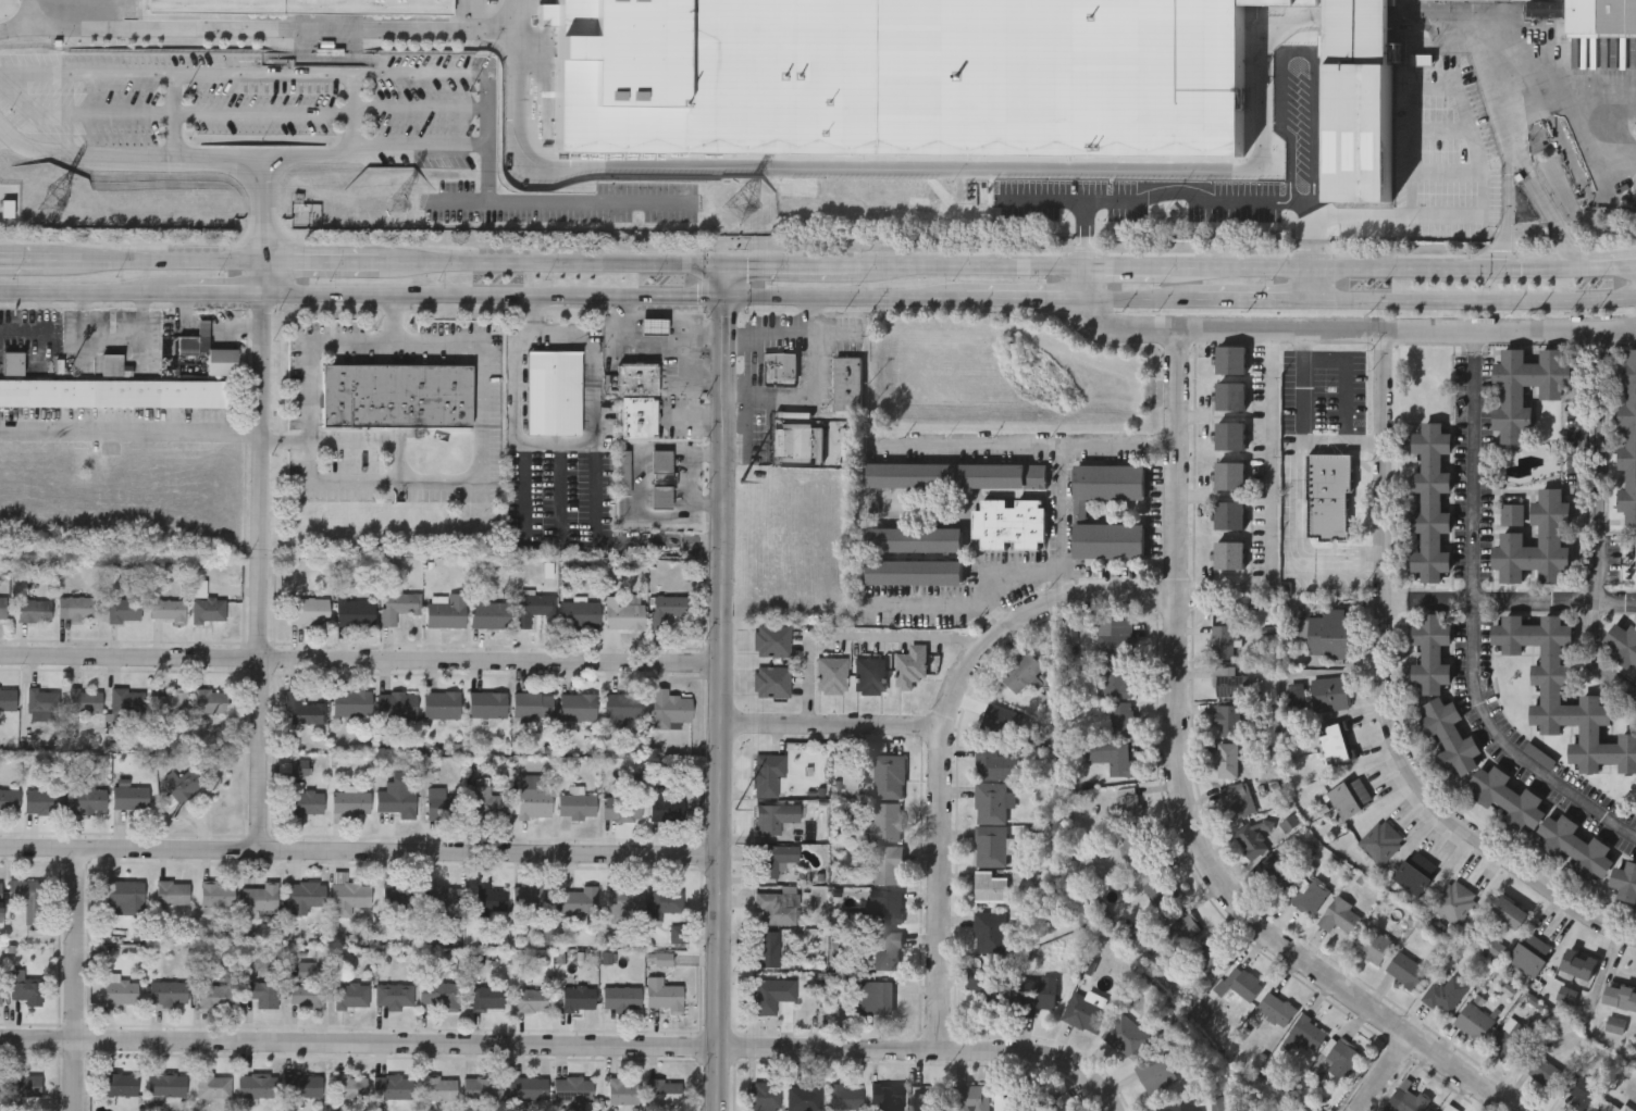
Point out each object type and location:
building: (303, 5)
road: (42, 14)
building: (1589, 14)
road: (260, 29)
road: (1313, 66)
building: (951, 78)
road: (1542, 96)
road: (173, 116)
road: (1588, 136)
road: (1477, 146)
road: (80, 154)
road: (1199, 167)
road: (721, 170)
road: (1447, 170)
road: (1508, 184)
road: (1532, 184)
road: (557, 198)
power tower: (742, 205)
power tower: (53, 207)
road: (265, 207)
power tower: (397, 207)
road: (1083, 217)
road: (1314, 219)
road: (1571, 246)
road: (1501, 247)
traffic signals: (1501, 253)
road: (1169, 254)
road: (26, 258)
road: (159, 258)
road: (322, 260)
road: (551, 265)
road: (1610, 266)
traffic signals: (748, 267)
road: (777, 267)
road: (956, 267)
road: (1127, 269)
road: (1377, 269)
traffic signals: (1522, 269)
road: (265, 276)
road: (704, 282)
road: (1083, 284)
road: (1315, 284)
road: (88, 294)
road: (222, 294)
road: (627, 296)
traffic signals: (698, 296)
road: (1036, 298)
road: (1141, 299)
road: (1256, 300)
road: (1475, 301)
road: (723, 309)
traffic signals: (724, 315)
building: (654, 328)
road: (1225, 328)
road: (1508, 328)
road: (1586, 329)
road: (768, 333)
road: (25, 336)
road: (1589, 336)
road: (1584, 337)
road: (1474, 341)
building: (206, 359)
building: (1232, 362)
building: (13, 366)
building: (112, 367)
building: (779, 369)
building: (639, 379)
building: (848, 386)
road: (815, 390)
building: (1512, 392)
building: (554, 395)
building: (113, 396)
building: (396, 398)
building: (1232, 398)
building: (640, 419)
road: (1301, 424)
road: (133, 430)
building: (1627, 436)
building: (1231, 438)
road: (287, 439)
building: (791, 442)
road: (556, 444)
road: (967, 444)
road: (1269, 448)
road: (1595, 460)
road: (1582, 461)
building: (661, 463)
building: (623, 475)
building: (956, 475)
building: (1230, 477)
road: (424, 482)
power tower: (735, 490)
road: (1063, 494)
building: (661, 498)
building: (1329, 502)
building: (1431, 504)
building: (1080, 513)
building: (1512, 513)
road: (1298, 516)
building: (1231, 517)
building: (1009, 523)
building: (1512, 538)
road: (610, 539)
building: (913, 539)
building: (1230, 558)
road: (1344, 561)
road: (1367, 561)
building: (914, 572)
road: (263, 573)
road: (1584, 585)
road: (1591, 585)
road: (1064, 586)
road: (1334, 596)
road: (1396, 598)
road: (943, 601)
road: (1441, 601)
road: (1557, 602)
building: (399, 609)
building: (3, 610)
building: (533, 610)
building: (76, 611)
building: (668, 611)
building: (169, 612)
building: (34, 613)
building: (124, 613)
building: (209, 613)
building: (310, 613)
building: (447, 614)
building: (356, 615)
building: (581, 616)
building: (624, 616)
building: (491, 617)
road: (852, 633)
road: (1475, 633)
building: (1327, 635)
building: (771, 644)
building: (1117, 645)
building: (1223, 645)
building: (1624, 647)
road: (1594, 650)
building: (1431, 654)
road: (360, 664)
building: (910, 669)
building: (1021, 674)
building: (832, 677)
building: (869, 677)
building: (772, 684)
building: (1230, 685)
building: (1118, 686)
road: (720, 688)
building: (1551, 690)
building: (1333, 696)
road: (1389, 697)
building: (8, 701)
building: (44, 702)
building: (211, 704)
building: (352, 704)
building: (85, 706)
building: (128, 706)
building: (173, 707)
building: (487, 707)
building: (398, 708)
building: (443, 708)
building: (533, 708)
building: (579, 710)
building: (623, 710)
building: (303, 712)
building: (671, 713)
building: (1121, 722)
building: (1229, 723)
road: (829, 727)
building: (1449, 736)
road: (938, 739)
building: (1337, 747)
building: (1118, 762)
building: (1227, 762)
building: (994, 765)
building: (299, 770)
building: (768, 777)
building: (889, 779)
building: (186, 788)
road: (1178, 794)
building: (1507, 797)
building: (132, 801)
building: (1351, 801)
building: (398, 802)
building: (9, 803)
building: (87, 803)
building: (1237, 803)
building: (44, 804)
building: (308, 804)
building: (351, 806)
building: (535, 806)
building: (488, 807)
building: (443, 808)
building: (667, 808)
power tower: (732, 808)
building: (1128, 808)
building: (577, 809)
building: (622, 811)
building: (776, 820)
building: (884, 826)
building: (990, 827)
building: (1251, 842)
building: (1381, 844)
building: (1575, 846)
building: (1135, 848)
road: (360, 851)
building: (774, 862)
building: (887, 867)
building: (1275, 875)
building: (1417, 875)
building: (1625, 883)
building: (990, 889)
building: (1158, 889)
building: (173, 895)
building: (218, 897)
building: (351, 898)
building: (1311, 898)
building: (126, 899)
building: (305, 899)
building: (400, 899)
building: (260, 900)
building: (444, 900)
building: (491, 901)
building: (531, 901)
building: (29, 902)
building: (0, 903)
building: (580, 903)
building: (1455, 904)
building: (625, 909)
building: (779, 910)
building: (888, 910)
building: (669, 913)
building: (1511, 915)
building: (1340, 919)
building: (1183, 928)
building: (990, 935)
building: (1372, 947)
building: (767, 951)
building: (1499, 951)
building: (888, 953)
building: (1210, 958)
building: (1532, 958)
building: (664, 961)
building: (1581, 966)
building: (1408, 973)
road: (75, 979)
building: (1244, 986)
building: (307, 989)
building: (26, 991)
building: (121, 993)
building: (0, 995)
building: (989, 995)
building: (261, 996)
building: (169, 997)
building: (664, 997)
building: (771, 997)
building: (1037, 997)
building: (1446, 997)
building: (352, 998)
building: (441, 998)
building: (1567, 998)
building: (213, 999)
building: (396, 999)
building: (1621, 999)
building: (488, 1000)
building: (876, 1000)
building: (579, 1001)
building: (622, 1001)
building: (533, 1002)
building: (1276, 1011)
building: (1086, 1016)
building: (1475, 1024)
building: (1616, 1027)
building: (1309, 1035)
building: (1127, 1038)
building: (1513, 1043)
road: (467, 1046)
road: (1034, 1052)
building: (1343, 1062)
road: (1379, 1074)
building: (1546, 1075)
building: (1156, 1077)
building: (121, 1087)
building: (23, 1088)
building: (213, 1088)
building: (258, 1088)
building: (165, 1089)
building: (302, 1089)
building: (350, 1089)
building: (393, 1090)
building: (441, 1091)
building: (481, 1091)
building: (529, 1093)
building: (573, 1093)
building: (1581, 1093)
building: (664, 1094)
building: (622, 1096)
building: (763, 1097)
building: (932, 1098)
building: (1018, 1098)
building: (891, 1099)
building: (970, 1099)
building: (805, 1100)
building: (845, 1100)
building: (1410, 1101)
building: (1608, 1106)
building: (1178, 1109)
building: (1449, 1109)
building: (1290, 1110)

